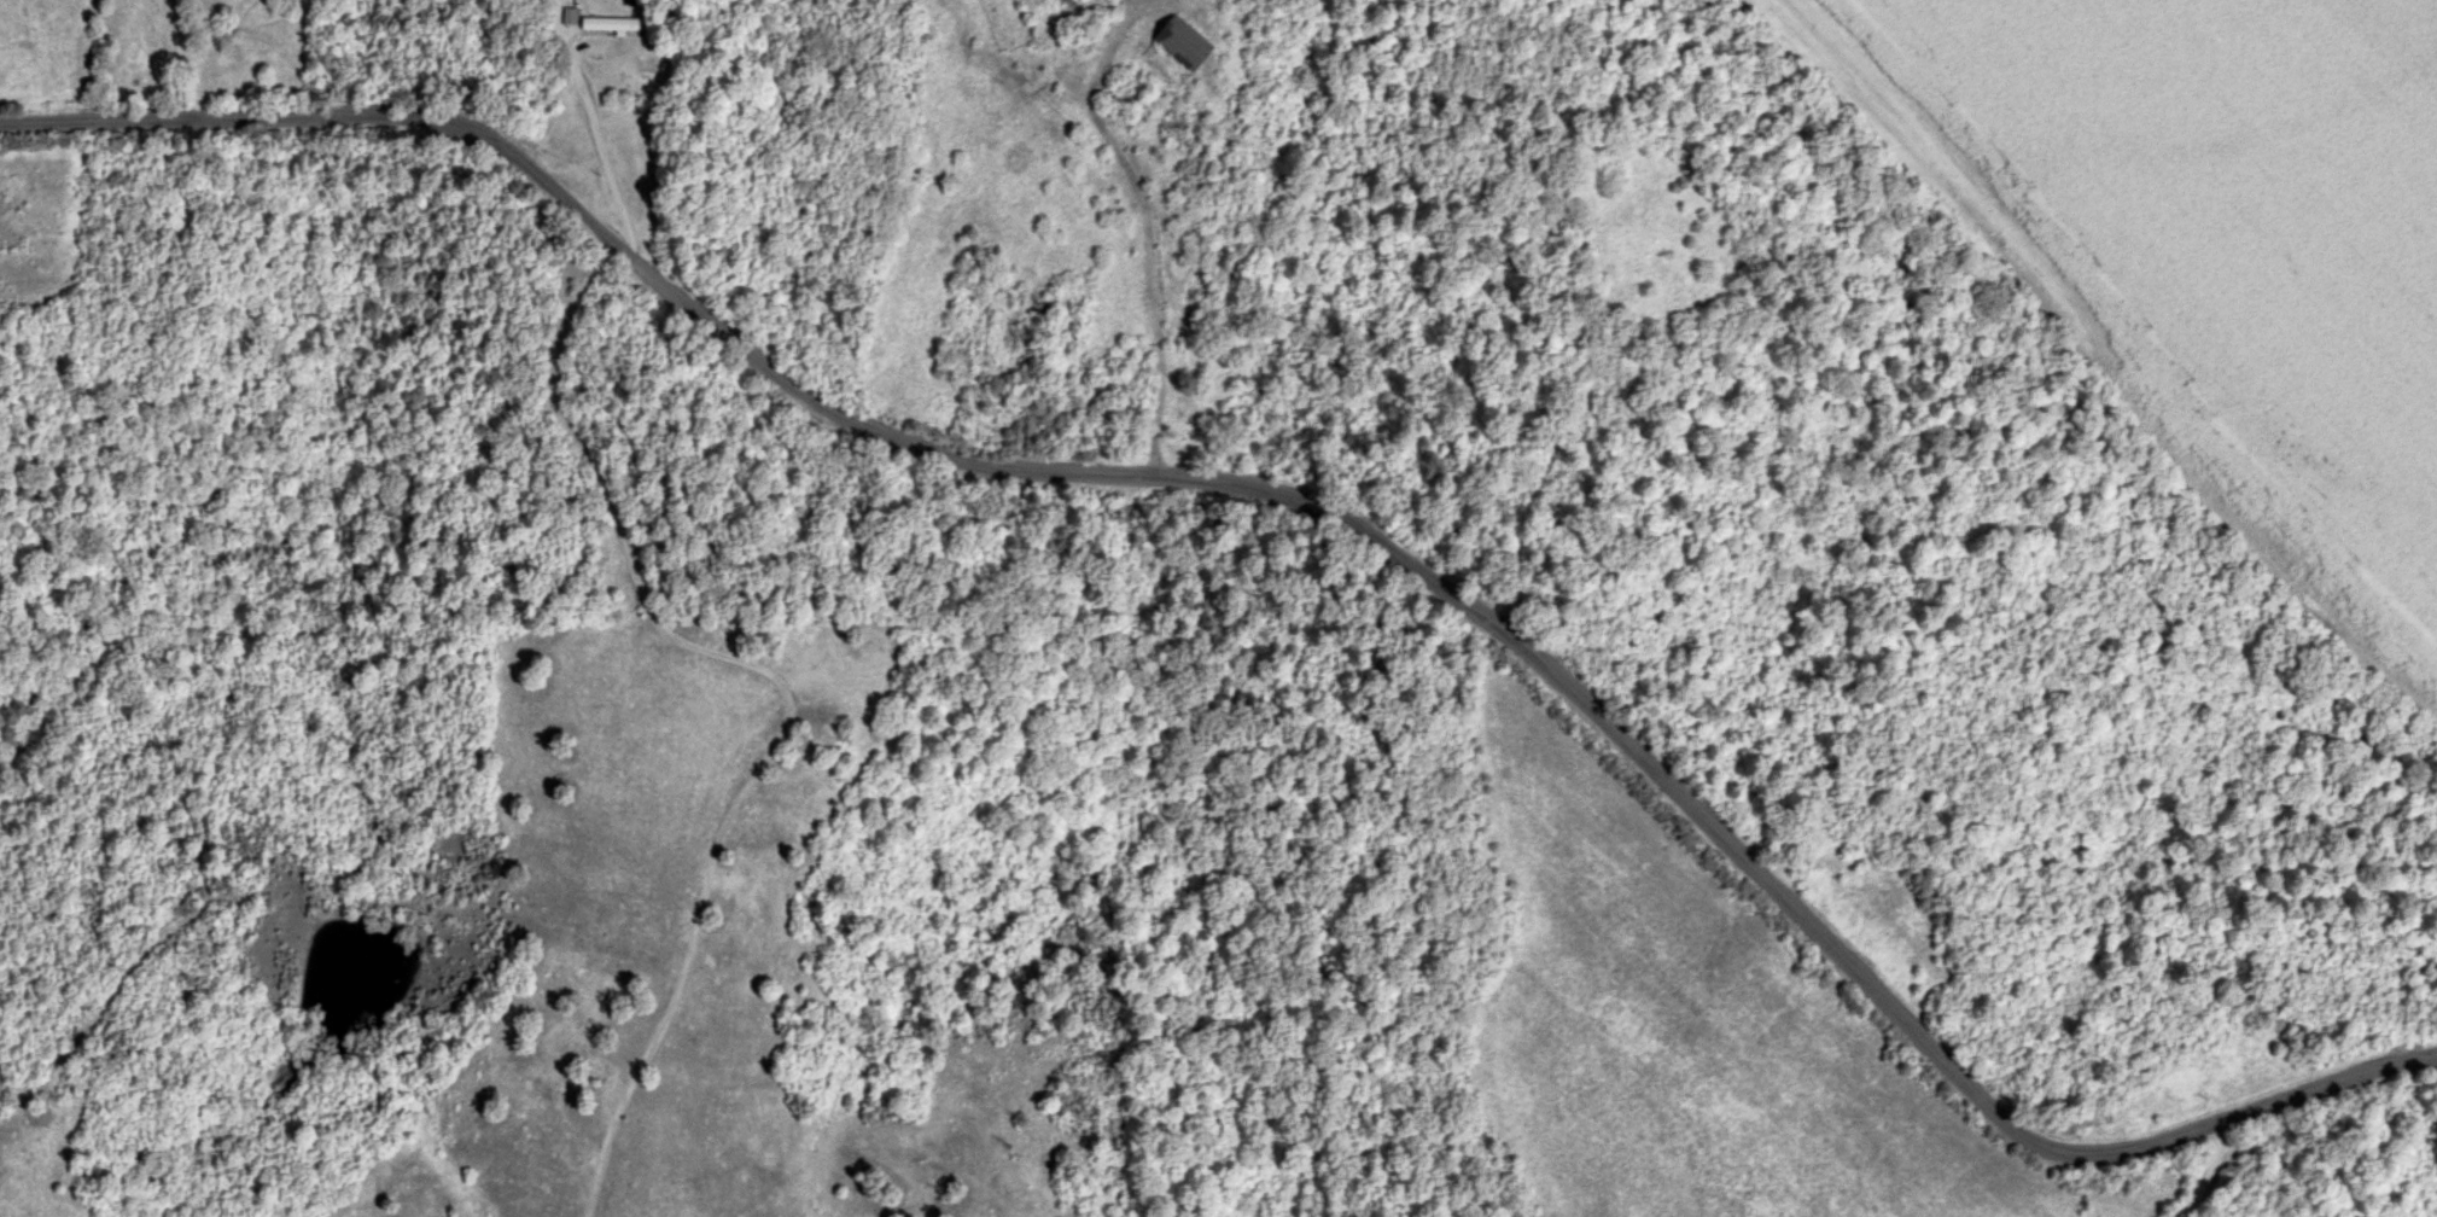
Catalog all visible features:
building: (569, 16)
building: (612, 24)
building: (1178, 41)
road: (182, 58)
road: (602, 132)
road: (1144, 220)
road: (1293, 493)
road: (777, 685)
road: (2208, 1172)

